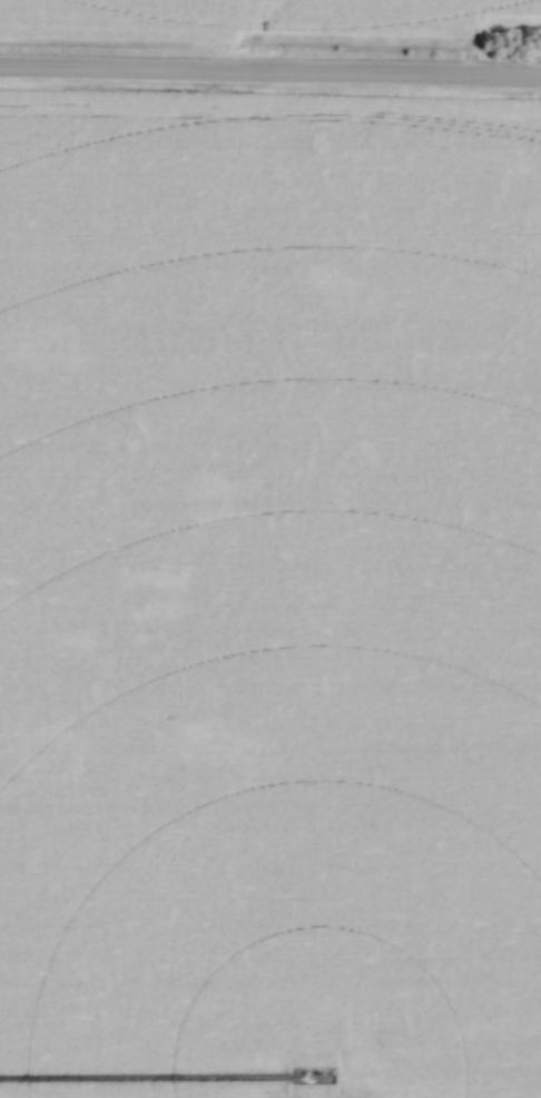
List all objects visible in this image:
road: (270, 77)

